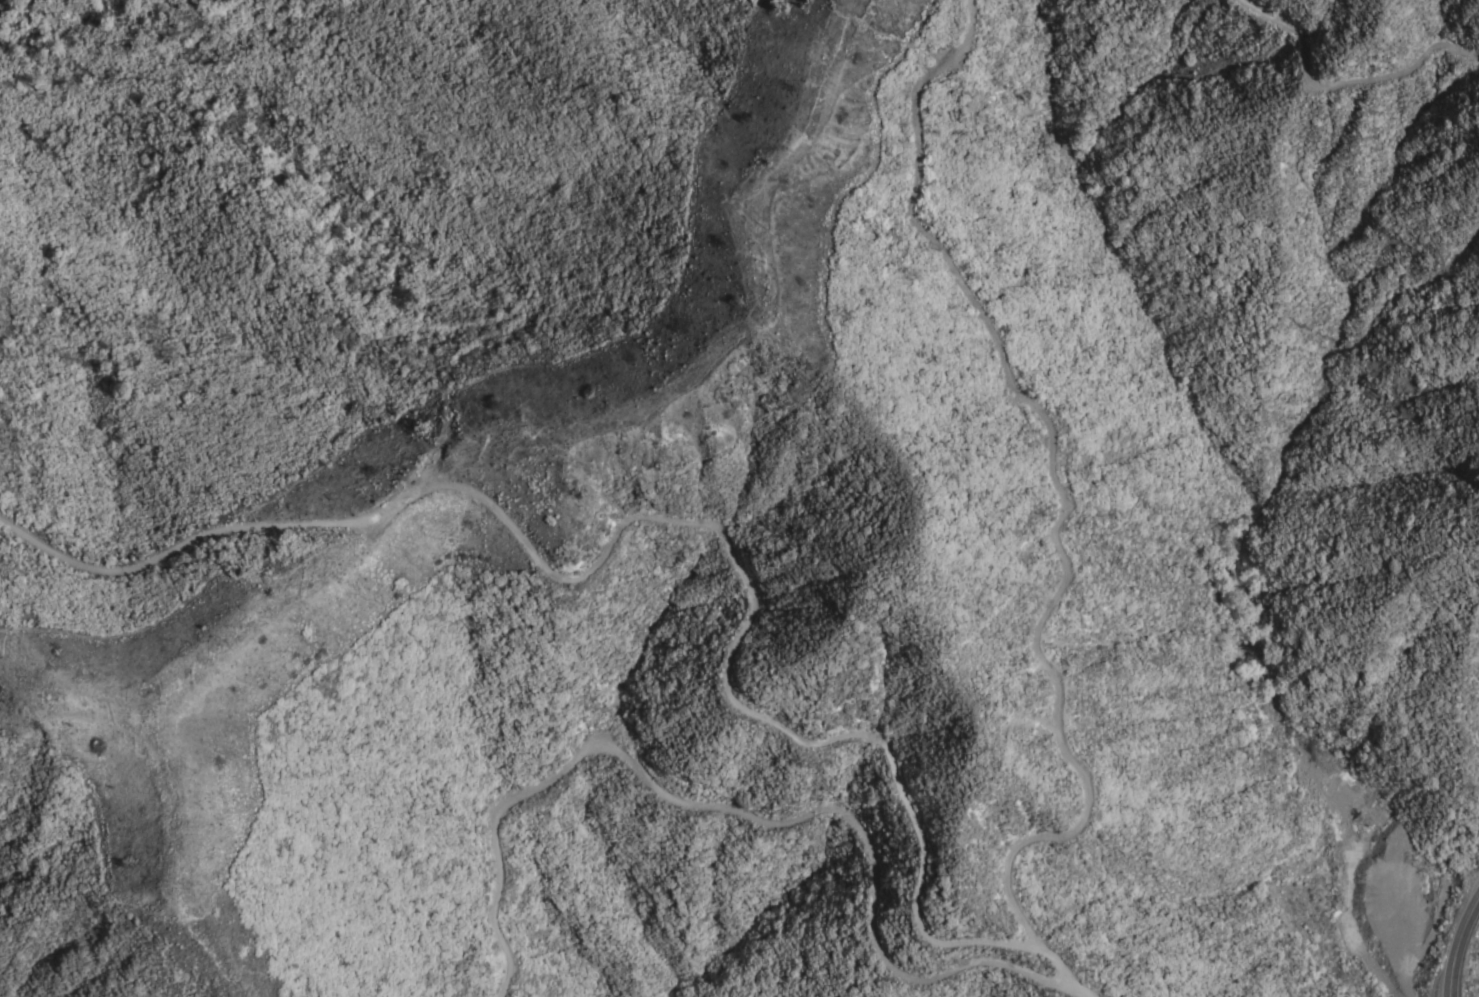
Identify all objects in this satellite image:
road: (1342, 73)
road: (143, 559)
road: (755, 605)
road: (1010, 897)
road: (1353, 935)
road: (1456, 943)
road: (1080, 986)

